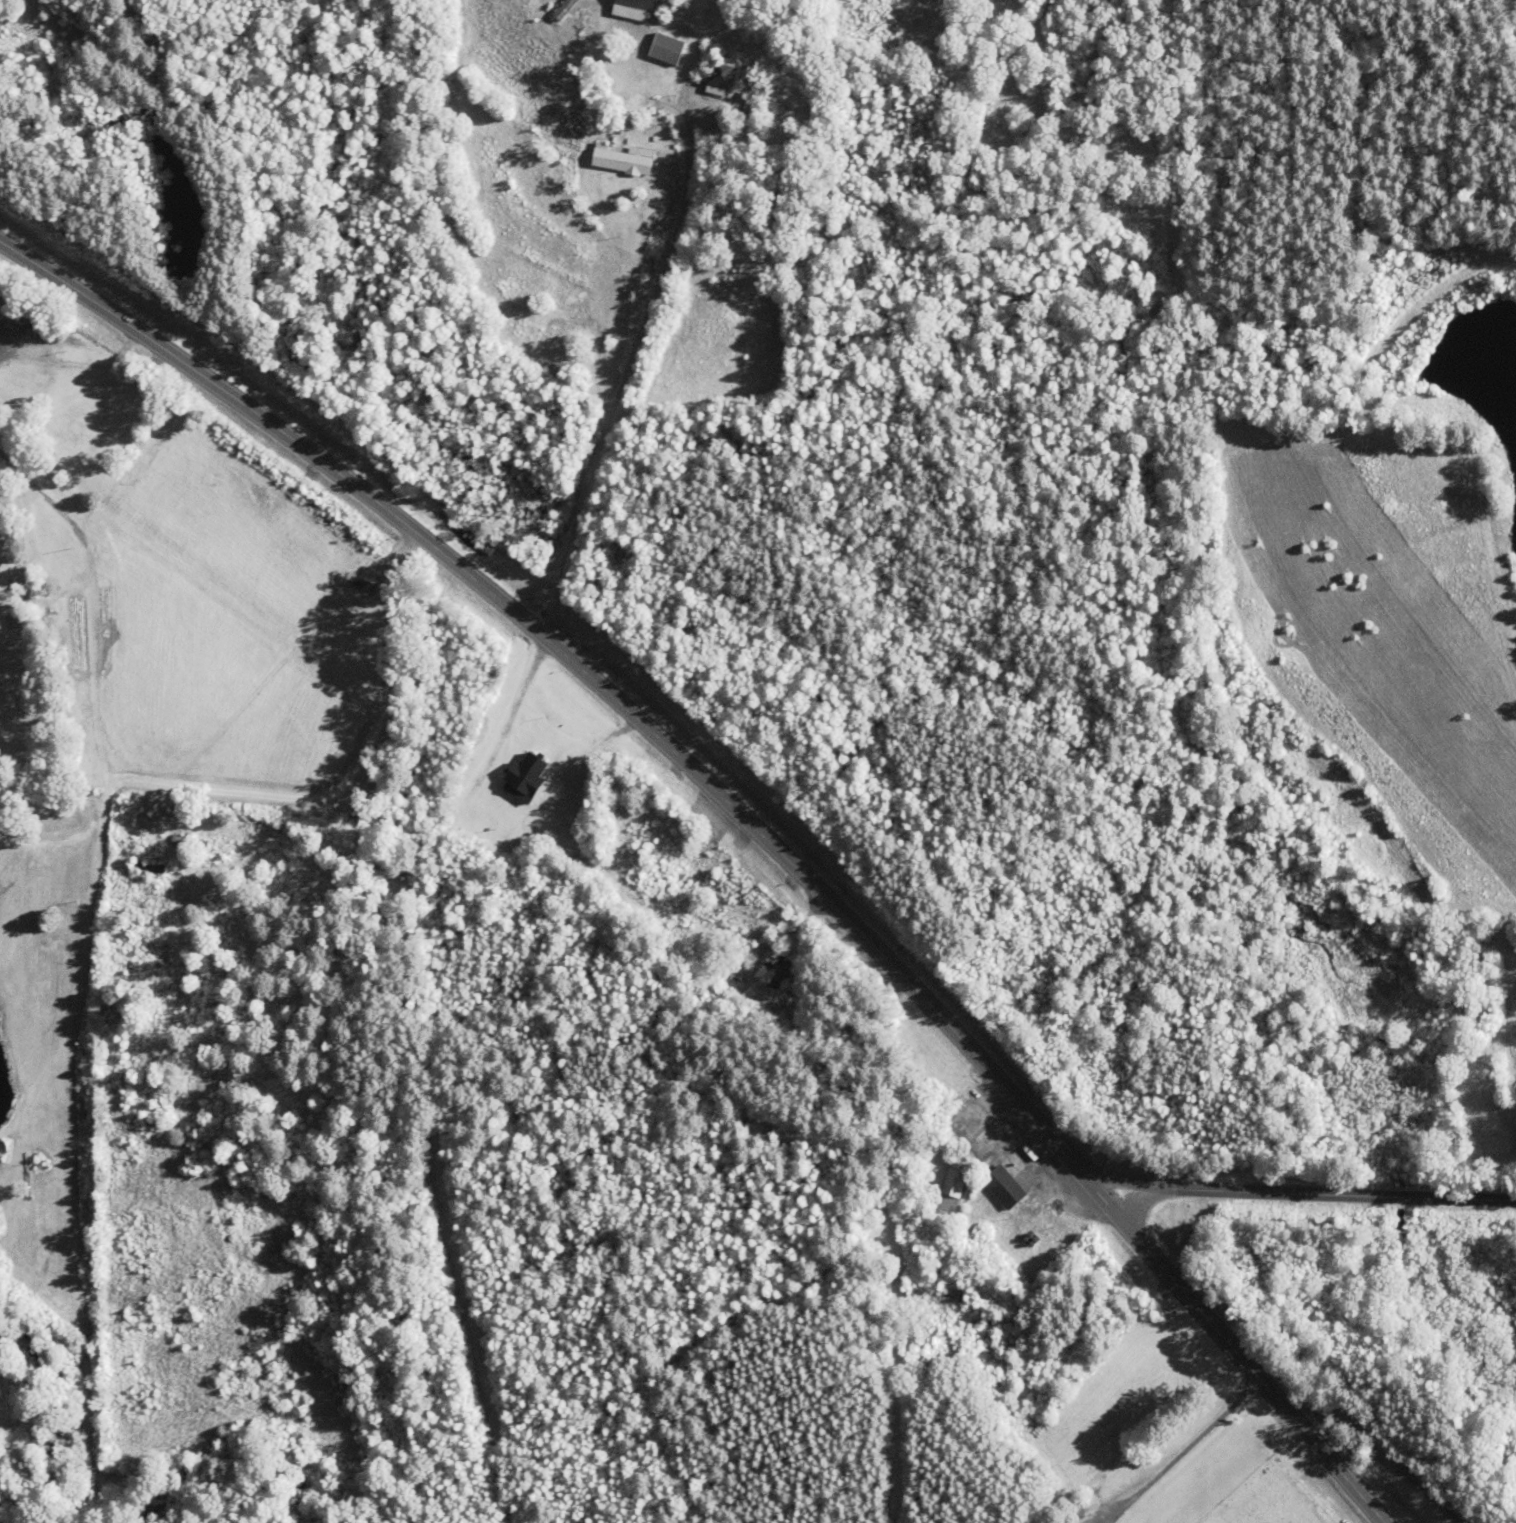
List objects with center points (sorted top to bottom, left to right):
road: (631, 374)
road: (746, 823)
road: (311, 849)
road: (1118, 1183)
road: (1311, 1195)

